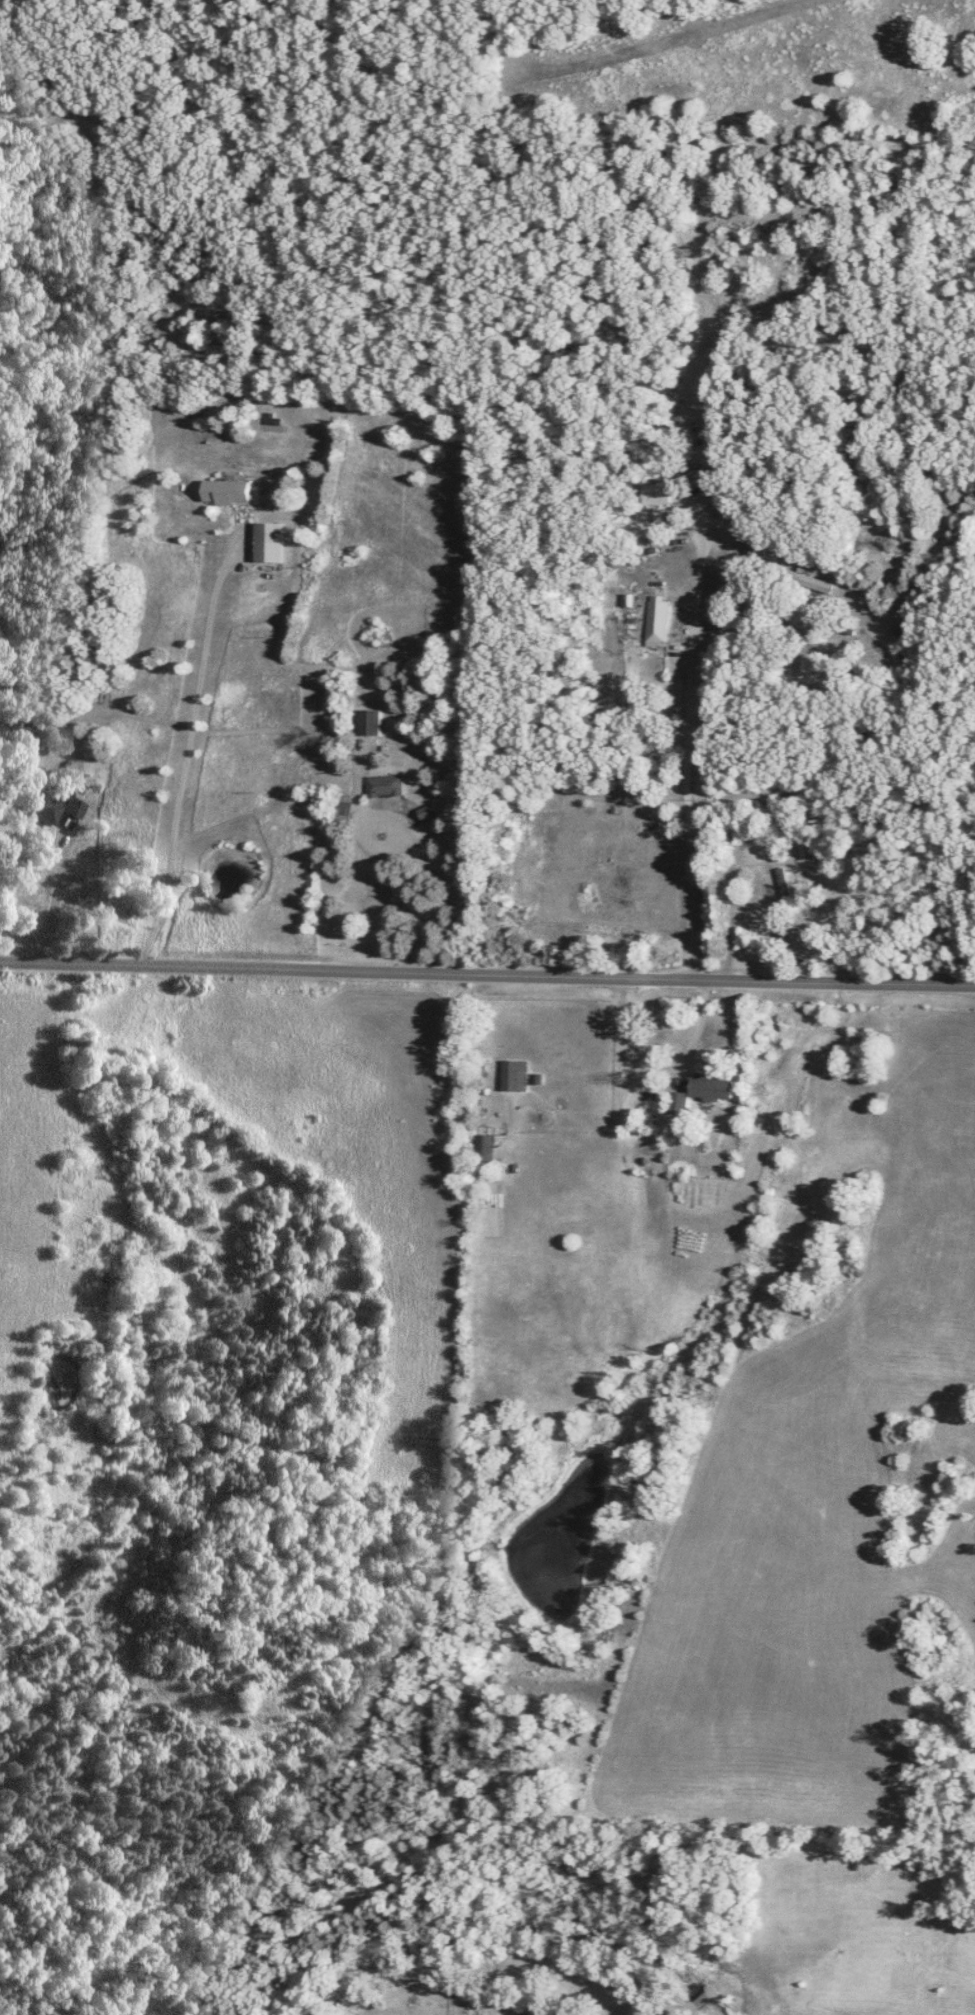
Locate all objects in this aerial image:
airport runway: (640, 38)
building: (223, 491)
road: (751, 530)
building: (806, 580)
road: (698, 610)
building: (655, 618)
building: (899, 628)
building: (25, 747)
road: (185, 752)
building: (382, 785)
building: (41, 805)
building: (72, 809)
building: (341, 812)
building: (425, 813)
road: (420, 843)
building: (808, 849)
building: (783, 886)
road: (55, 896)
road: (800, 926)
road: (487, 970)
road: (698, 1026)
building: (513, 1075)
building: (699, 1091)
building: (482, 1148)

